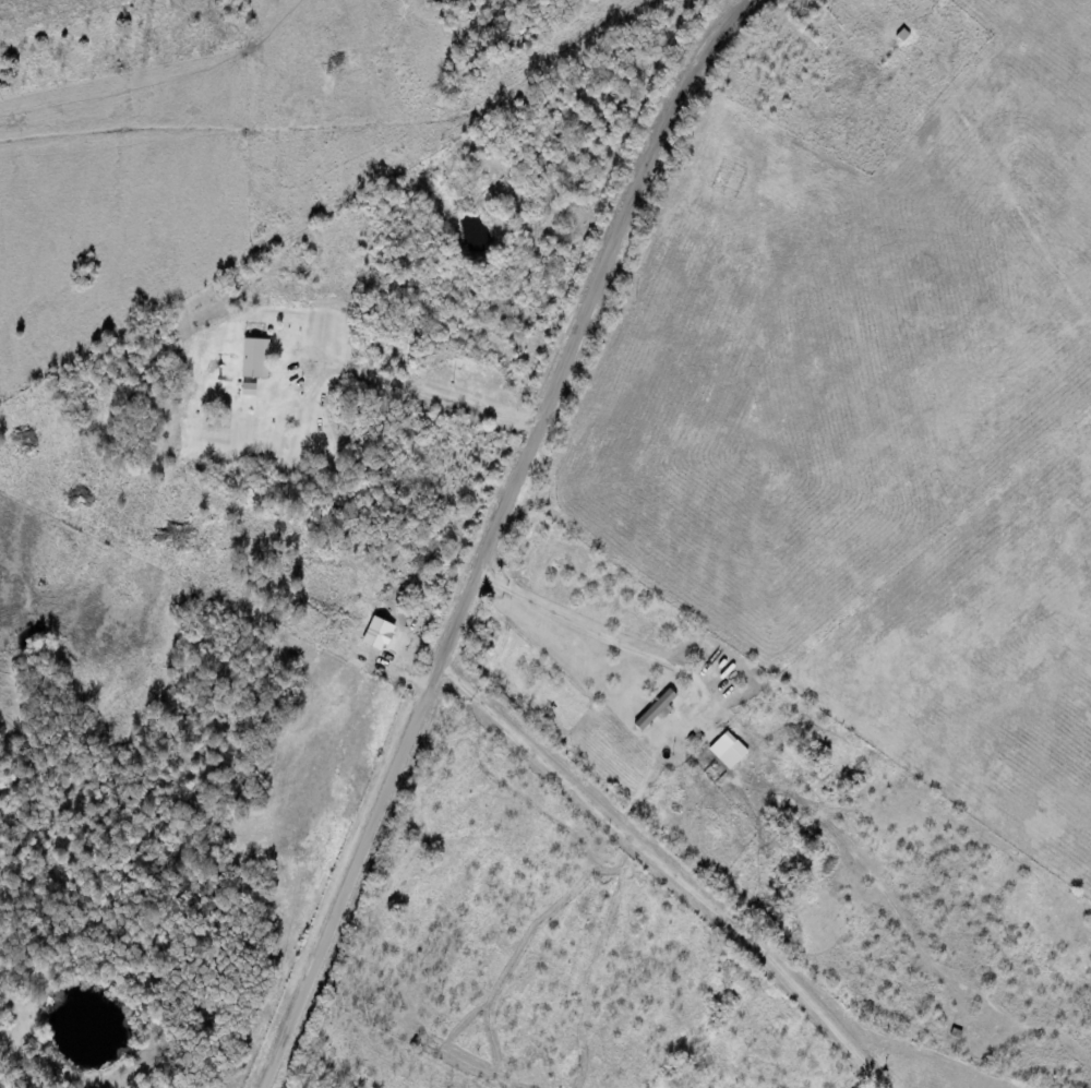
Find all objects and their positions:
building: (257, 358)
building: (250, 390)
road: (500, 536)
building: (380, 634)
building: (658, 710)
building: (730, 751)
road: (695, 884)

